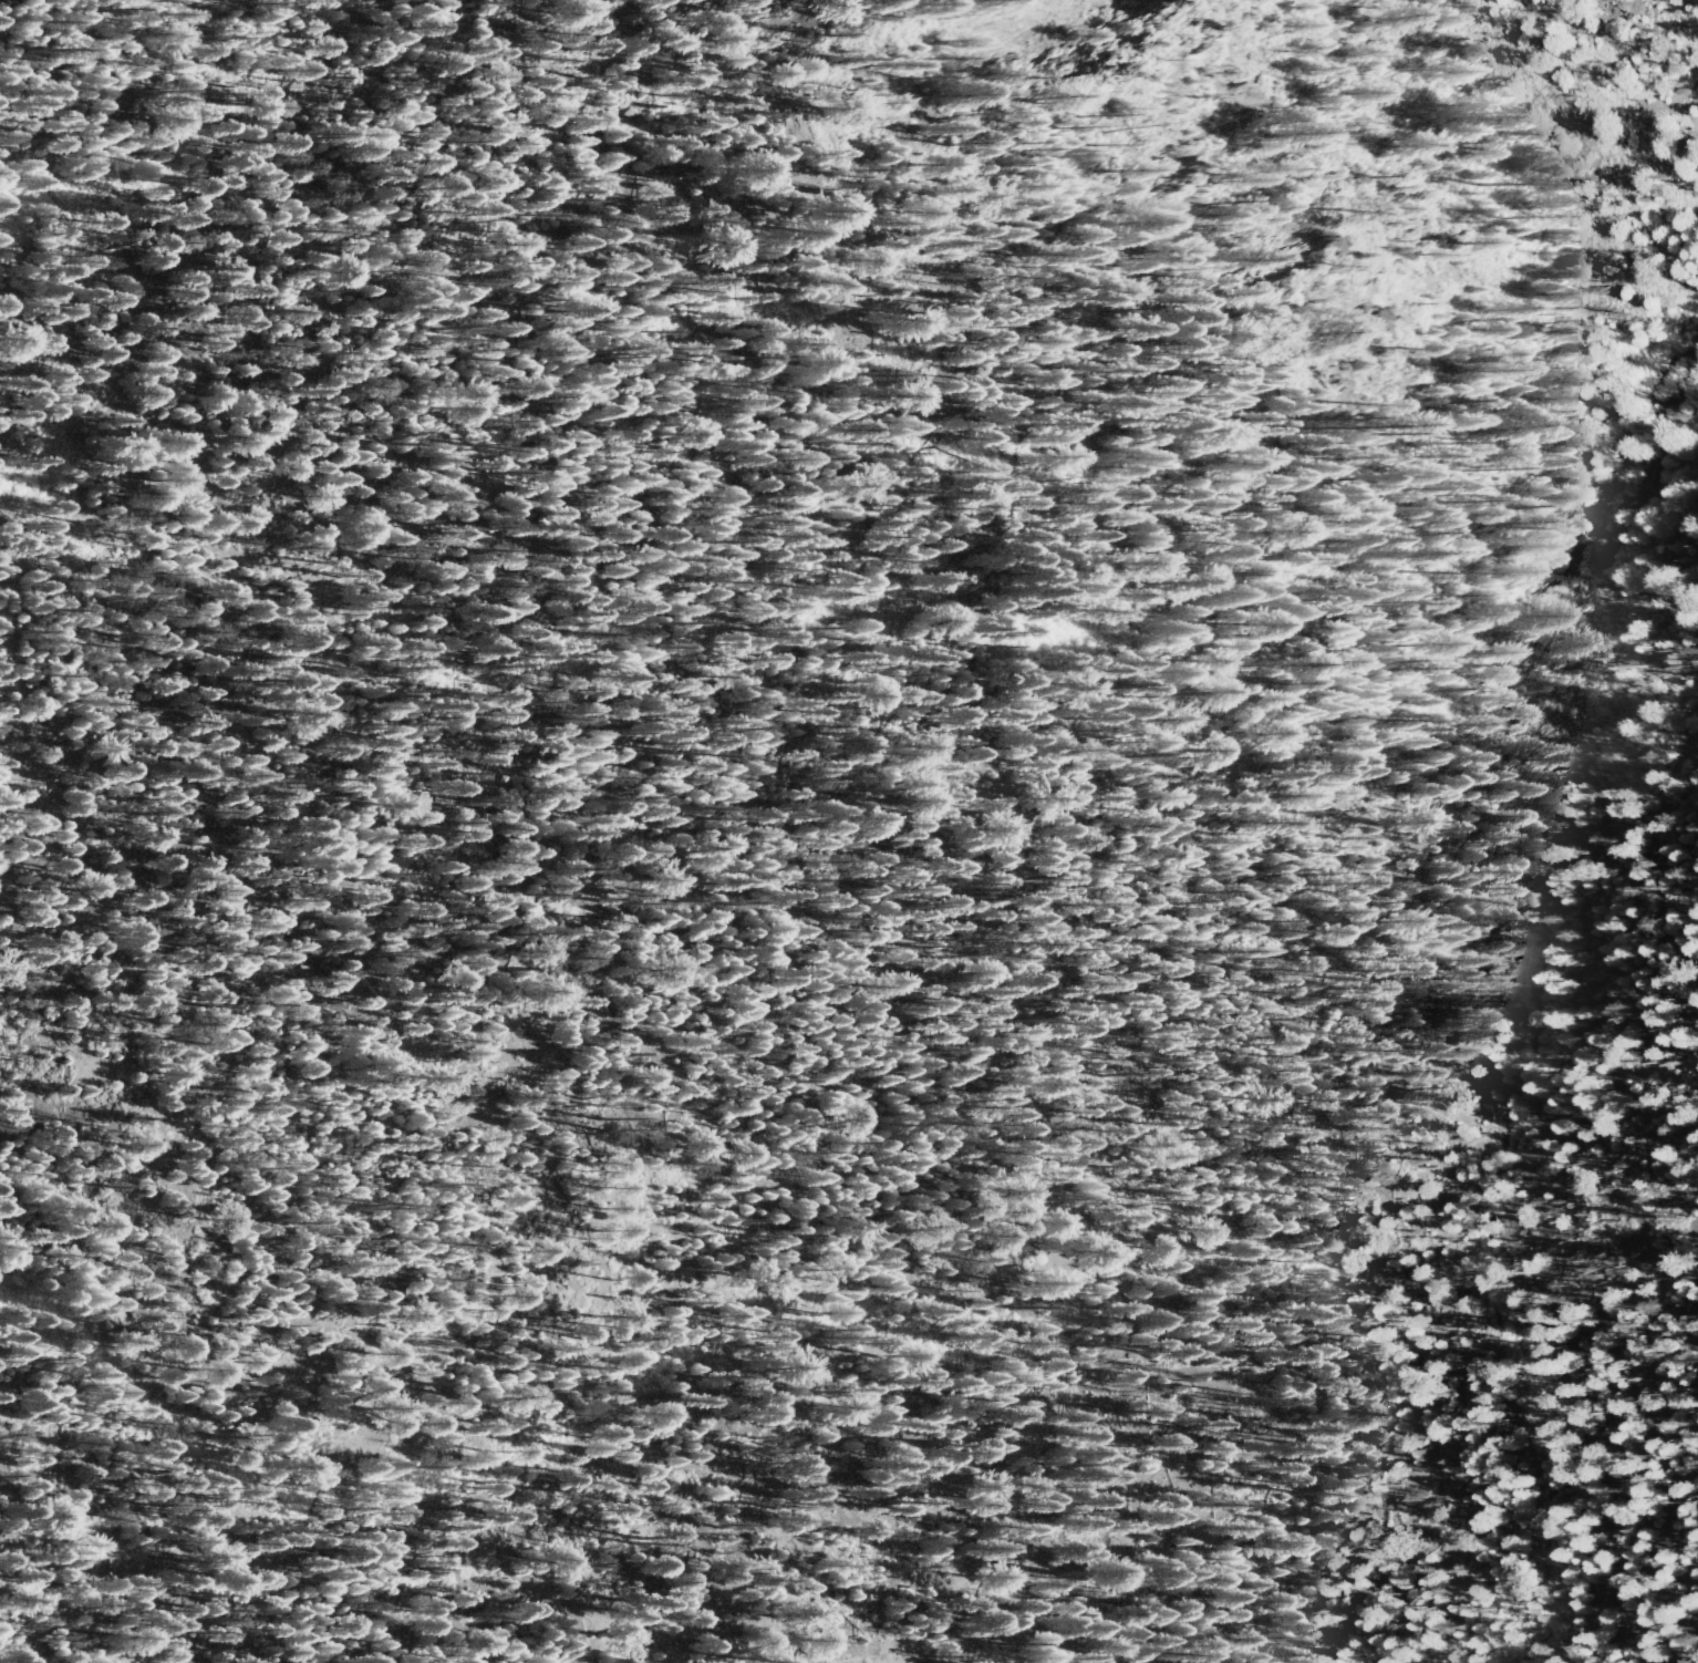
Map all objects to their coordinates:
road: (218, 1489)

